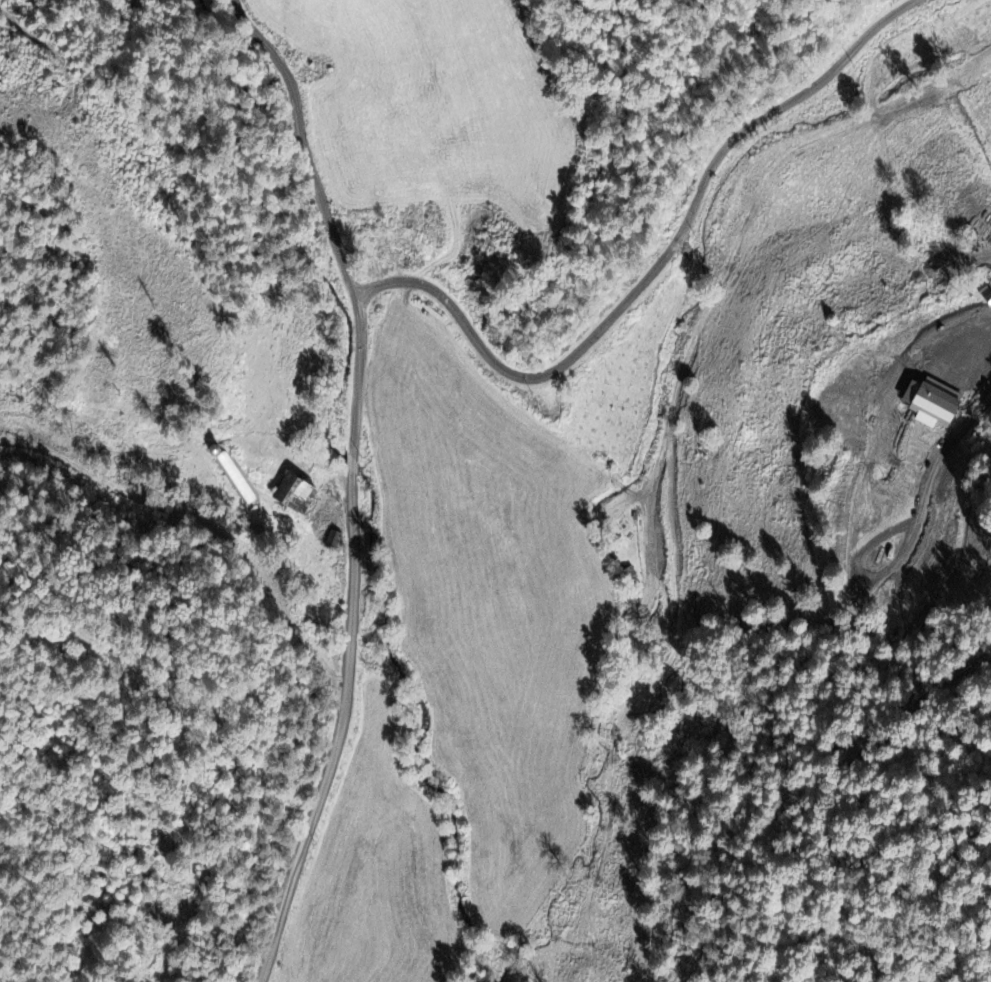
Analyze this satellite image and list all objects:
road: (303, 140)
road: (653, 267)
building: (964, 364)
building: (929, 402)
building: (291, 494)
road: (349, 642)

